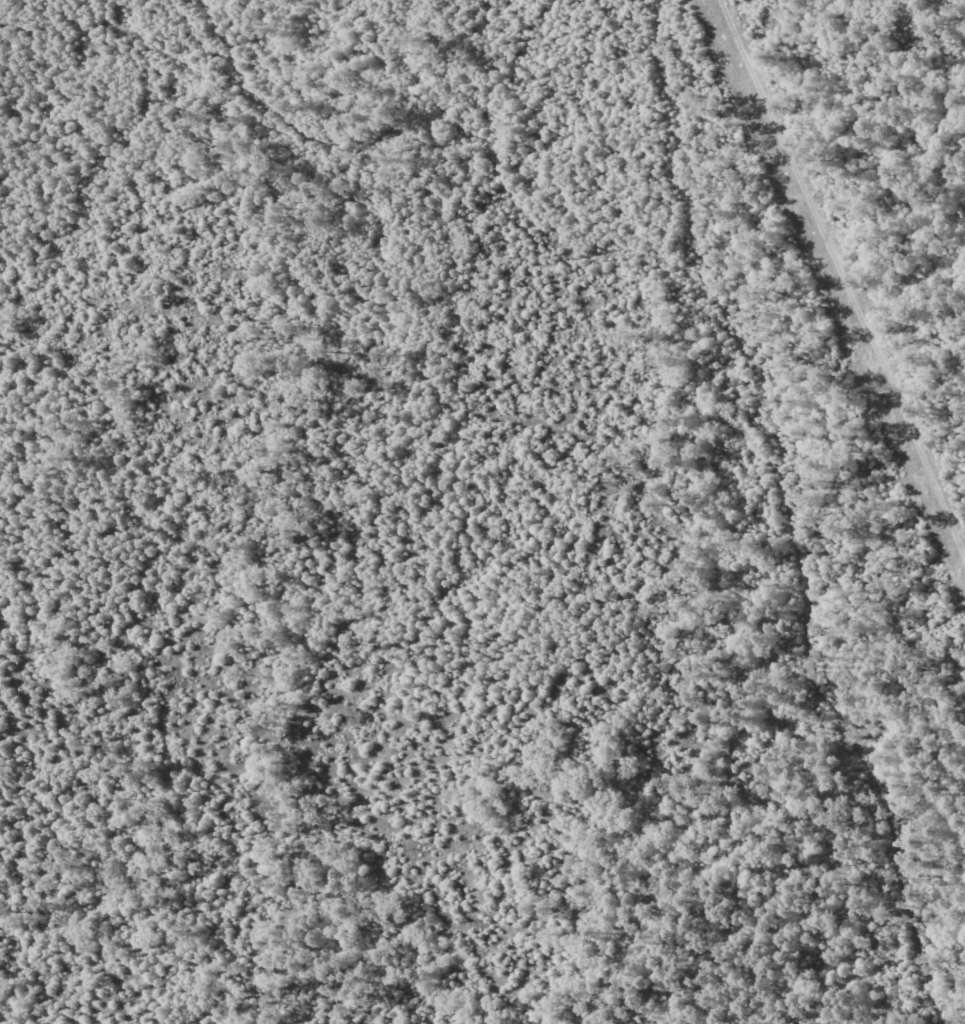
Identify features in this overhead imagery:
power tower: (881, 390)

